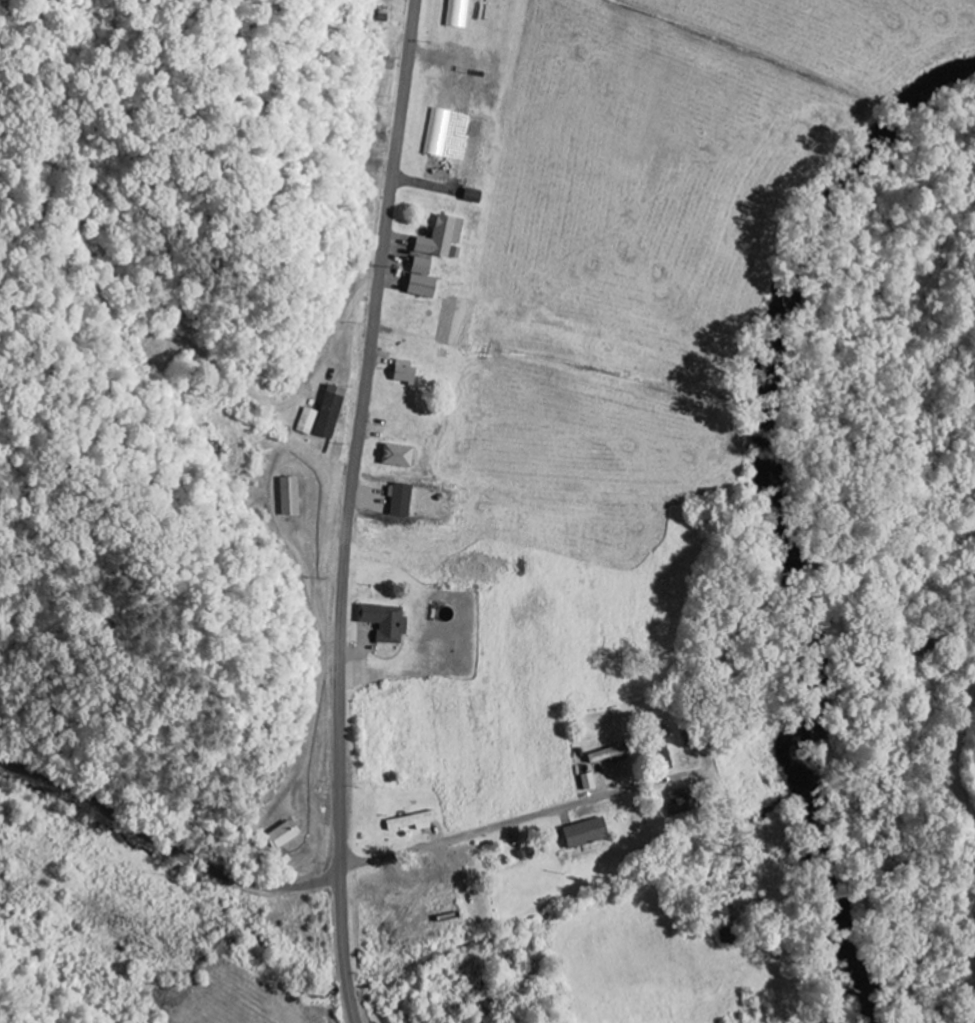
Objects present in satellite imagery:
building: (456, 14)
building: (437, 134)
building: (438, 238)
building: (418, 280)
building: (402, 373)
building: (321, 416)
building: (395, 456)
building: (287, 497)
building: (398, 501)
river: (770, 508)
road: (349, 509)
building: (381, 623)
road: (674, 694)
building: (605, 756)
road: (959, 759)
building: (585, 782)
building: (677, 802)
building: (410, 823)
road: (489, 832)
building: (581, 834)
building: (280, 835)
road: (972, 978)

